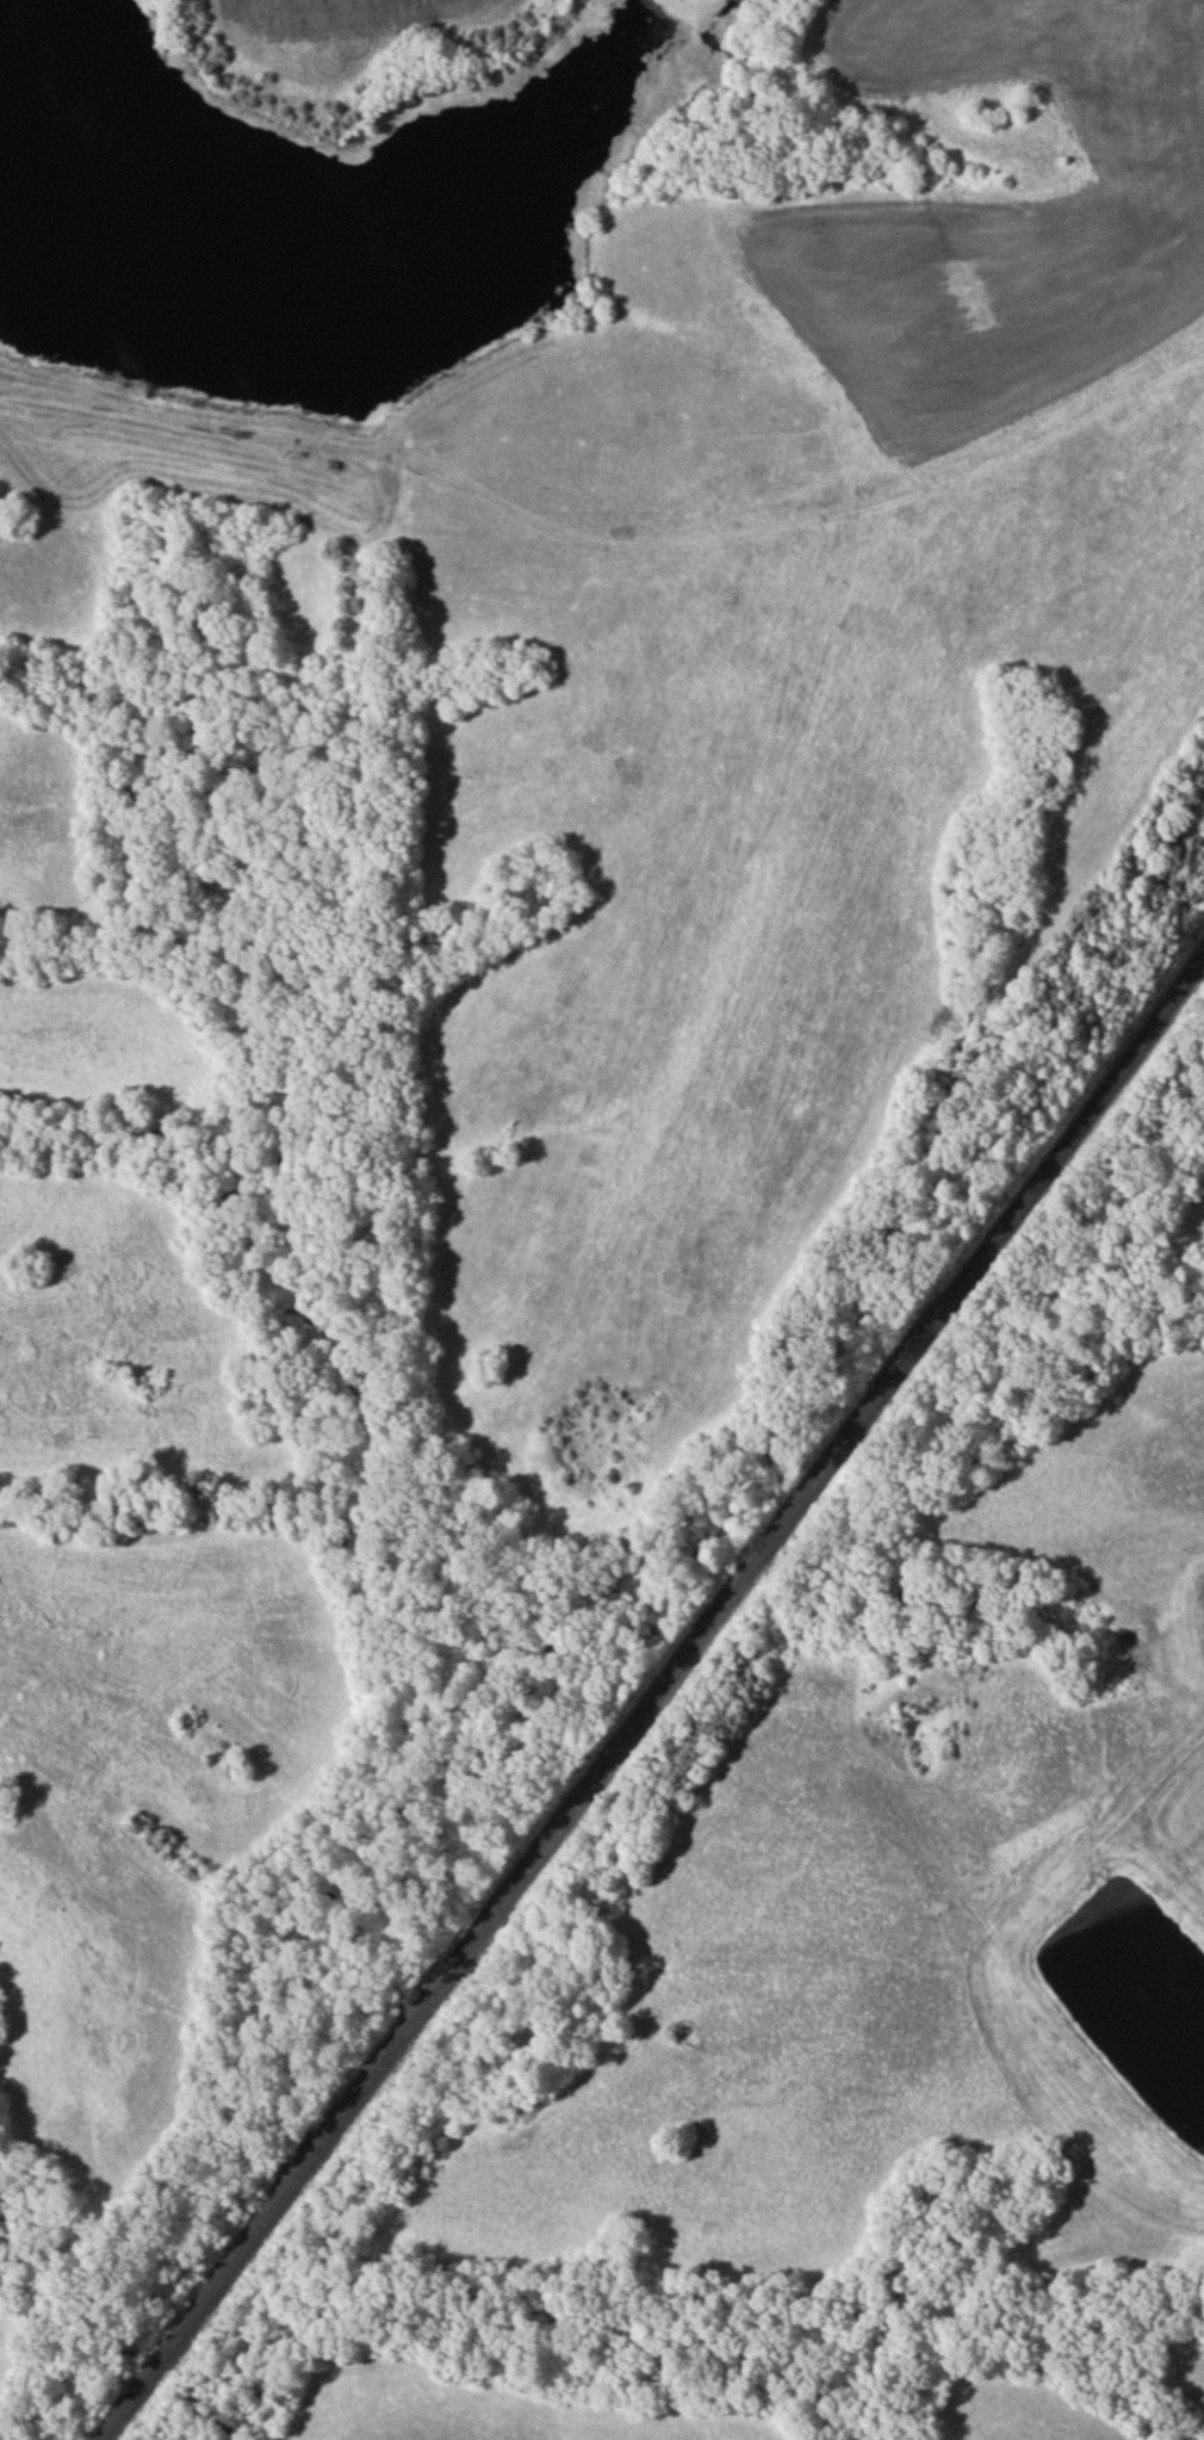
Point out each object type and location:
railway: (662, 1701)

